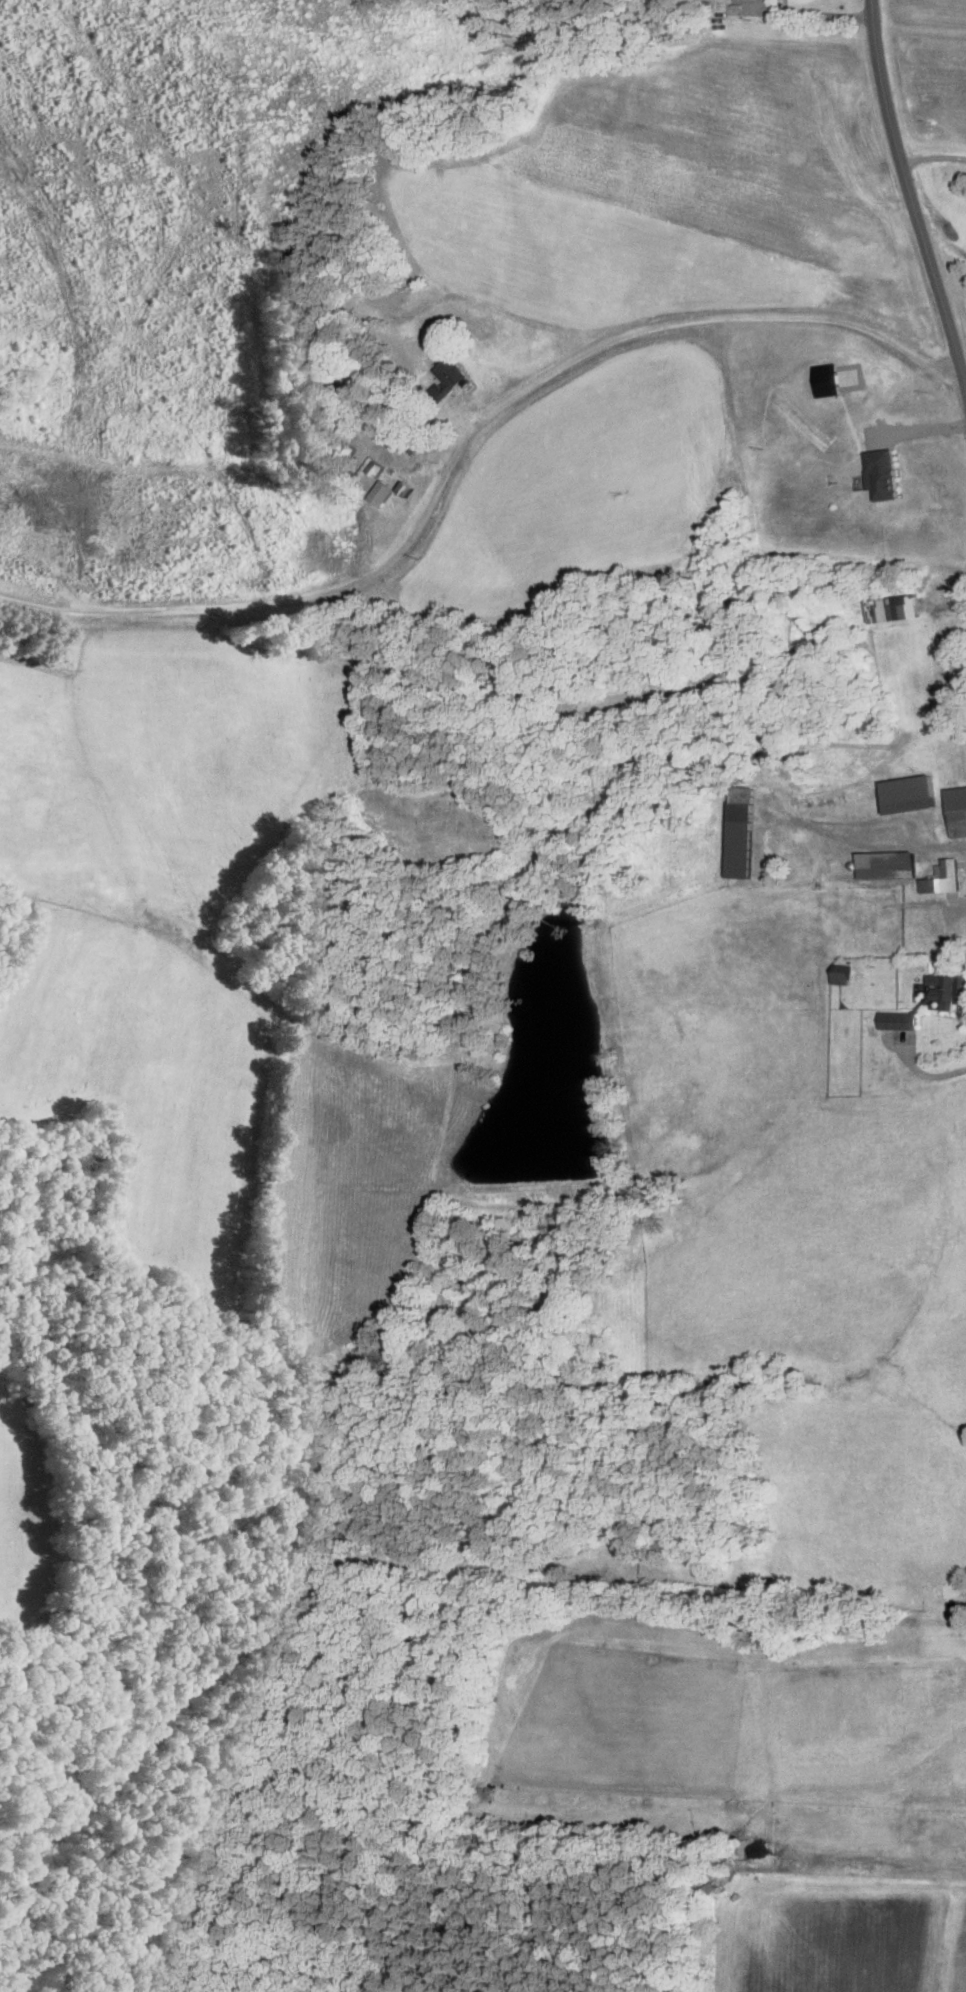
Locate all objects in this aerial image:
road: (815, 12)
road: (933, 158)
road: (910, 194)
building: (452, 373)
road: (466, 425)
building: (391, 477)
building: (896, 608)
building: (951, 625)
building: (963, 674)
building: (909, 793)
building: (834, 798)
building: (958, 810)
building: (742, 831)
building: (791, 845)
building: (887, 864)
building: (944, 877)
building: (919, 948)
building: (842, 973)
building: (963, 989)
building: (945, 992)
building: (898, 1020)
road: (924, 1065)
building: (947, 1591)

